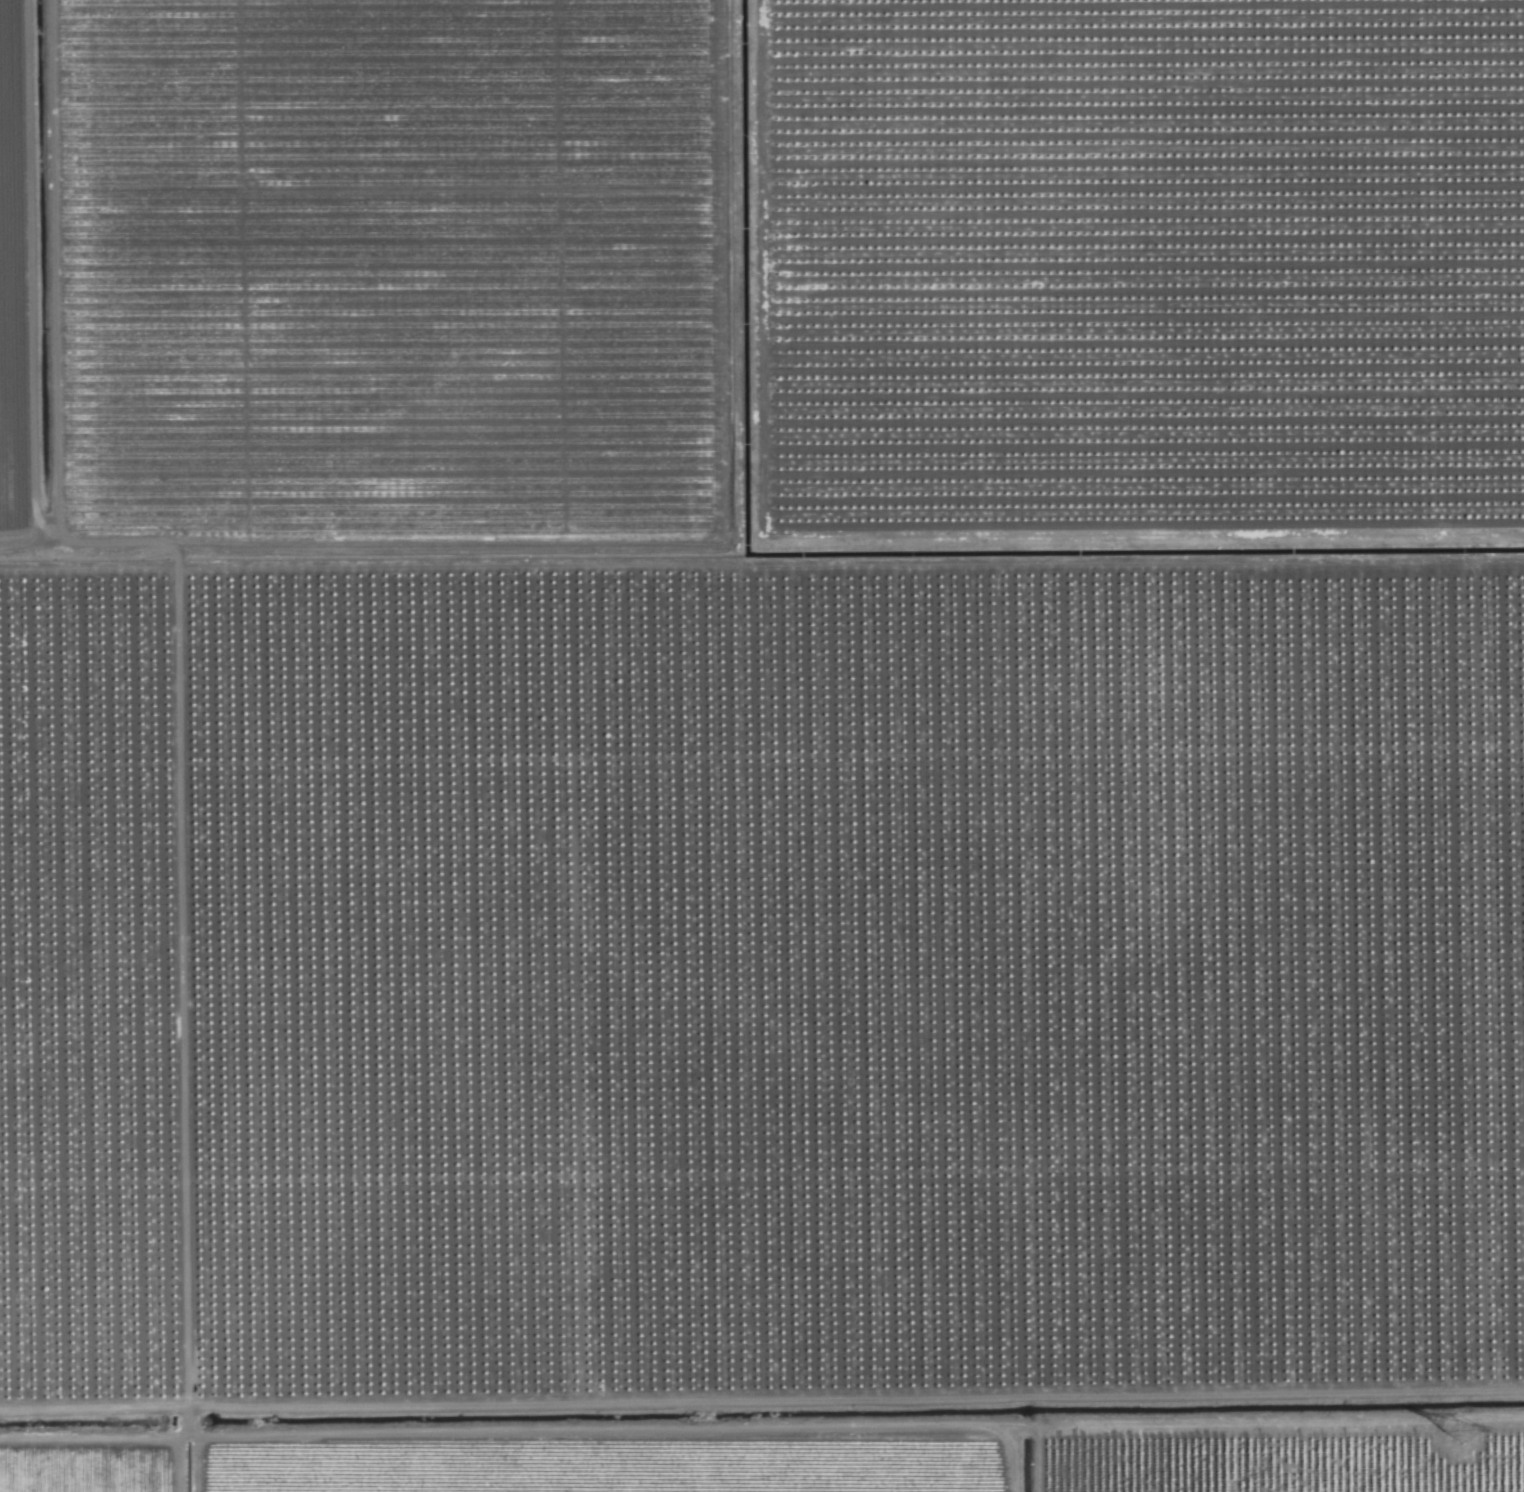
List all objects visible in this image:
power tower: (1456, 1443)

